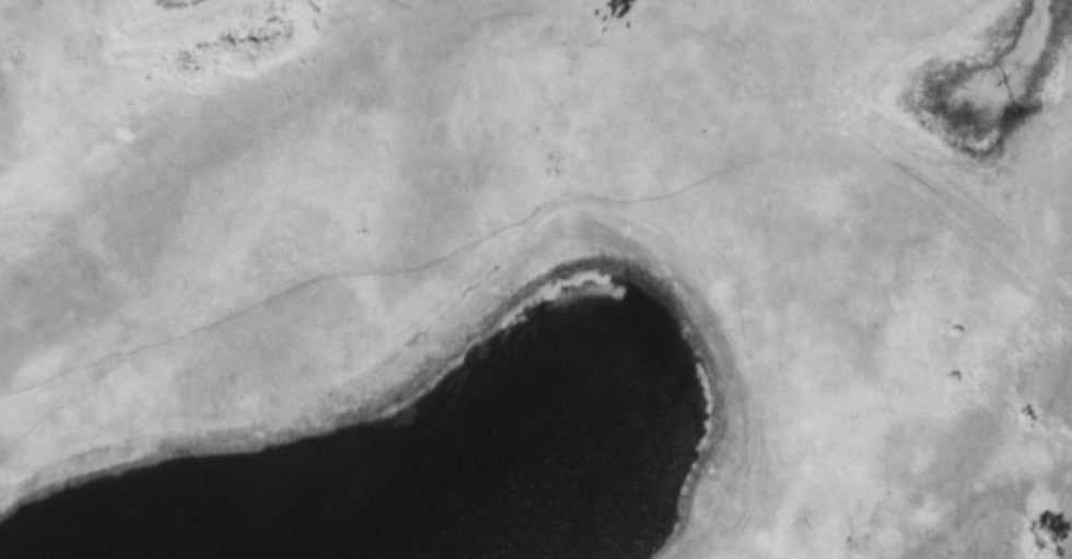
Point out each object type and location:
road: (989, 226)

